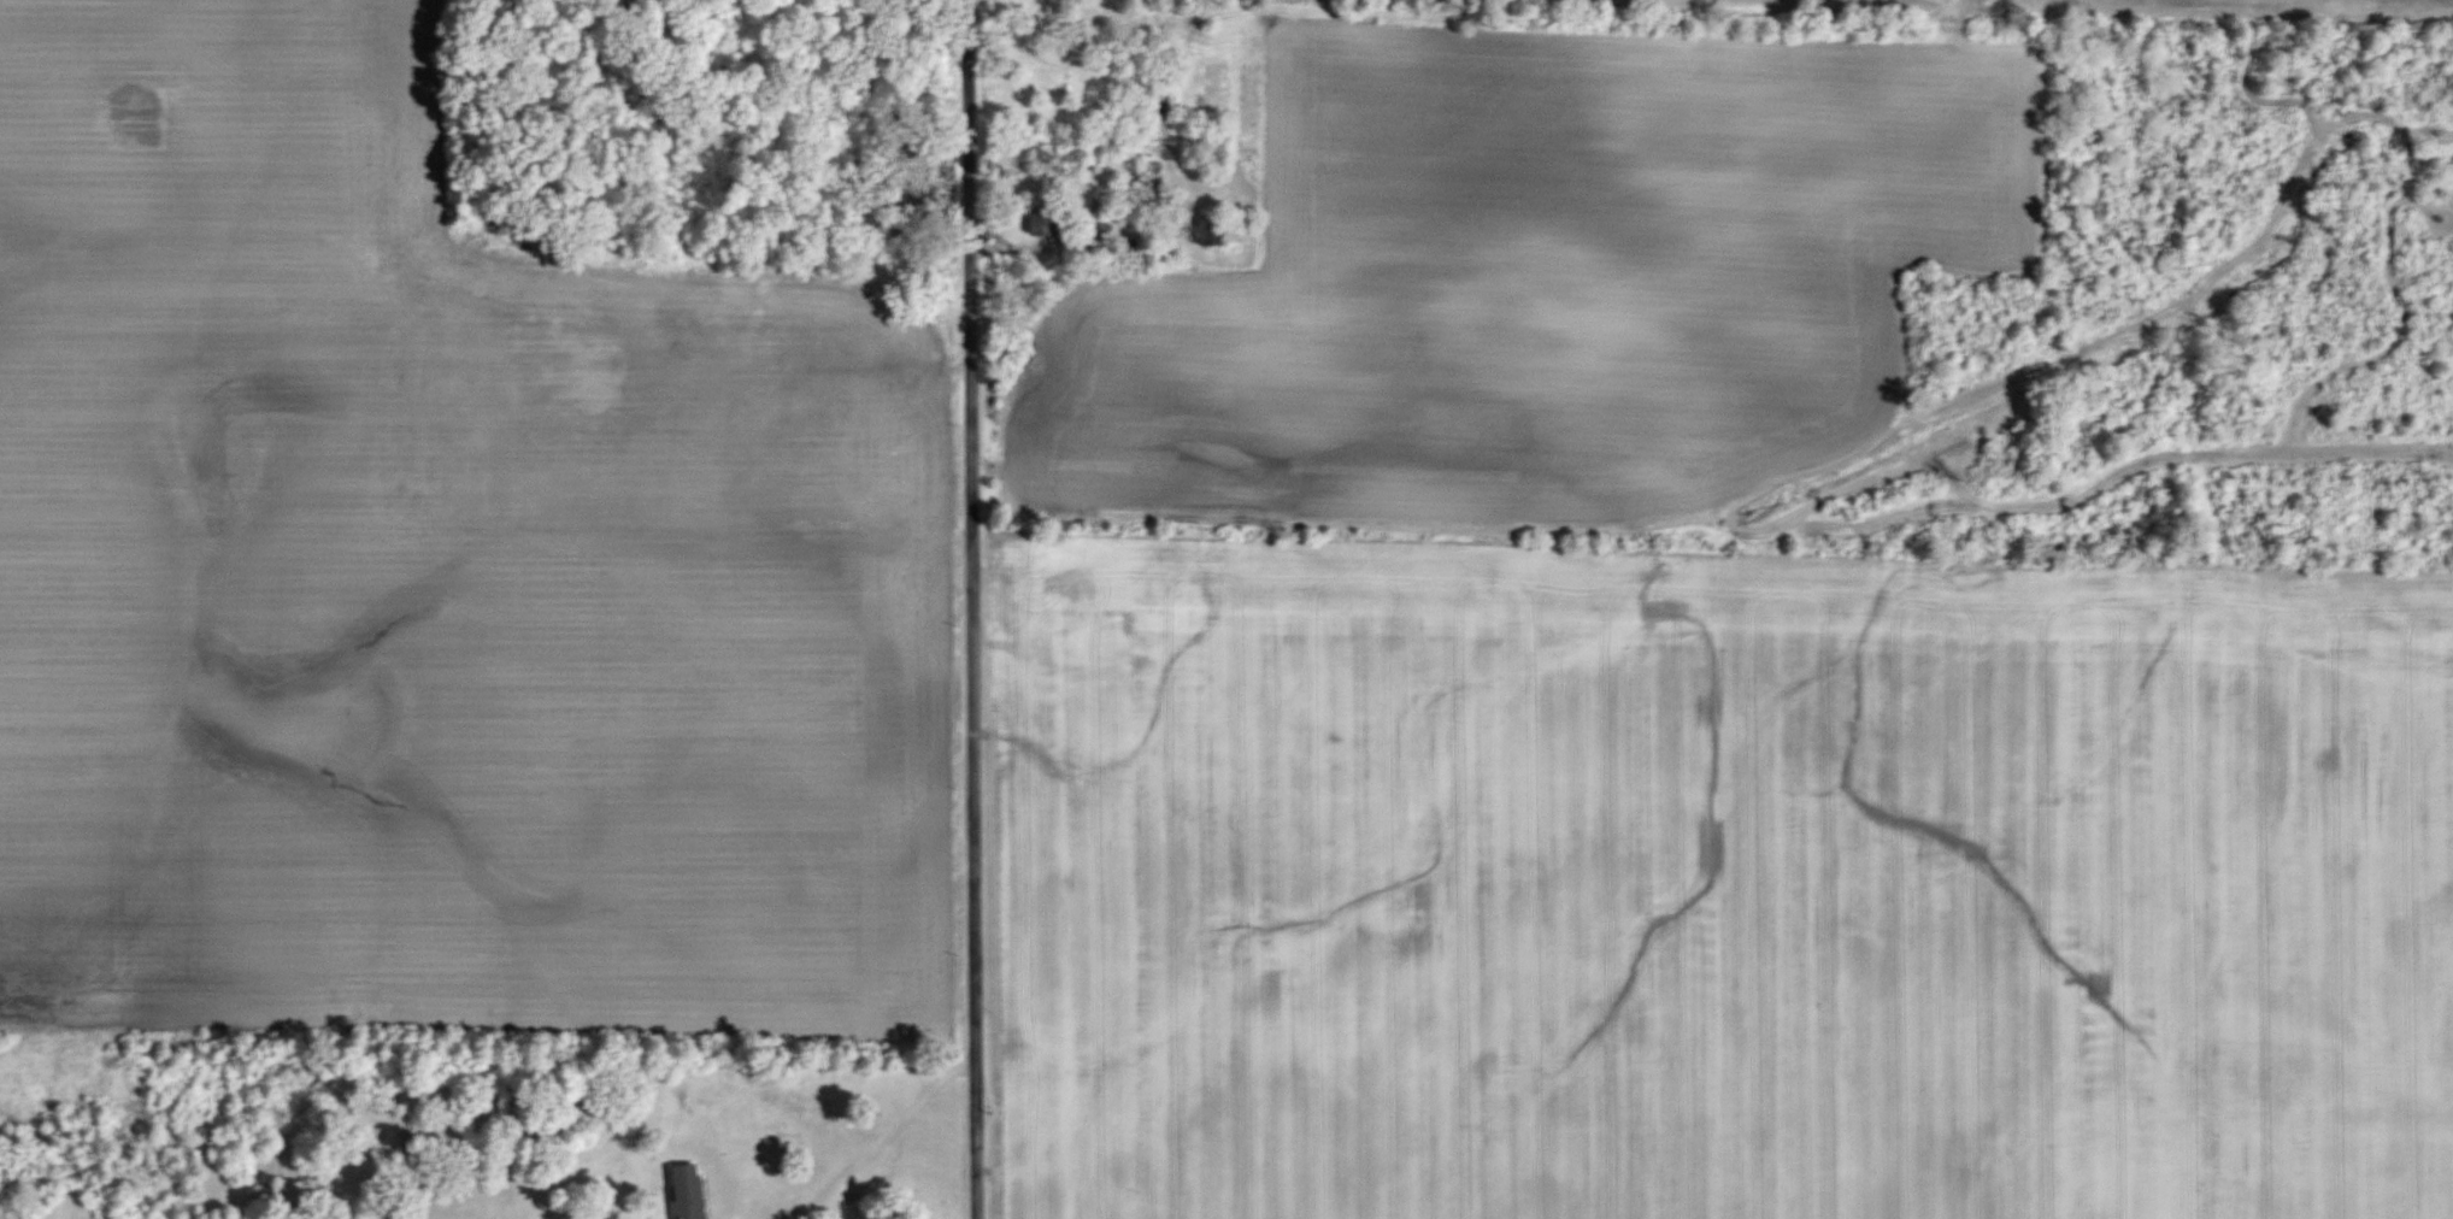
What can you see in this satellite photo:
building: (1040, 220)
building: (1207, 230)
building: (1101, 231)
building: (616, 290)
building: (675, 324)
building: (828, 340)
road: (965, 609)
road: (877, 1138)
building: (686, 1192)

